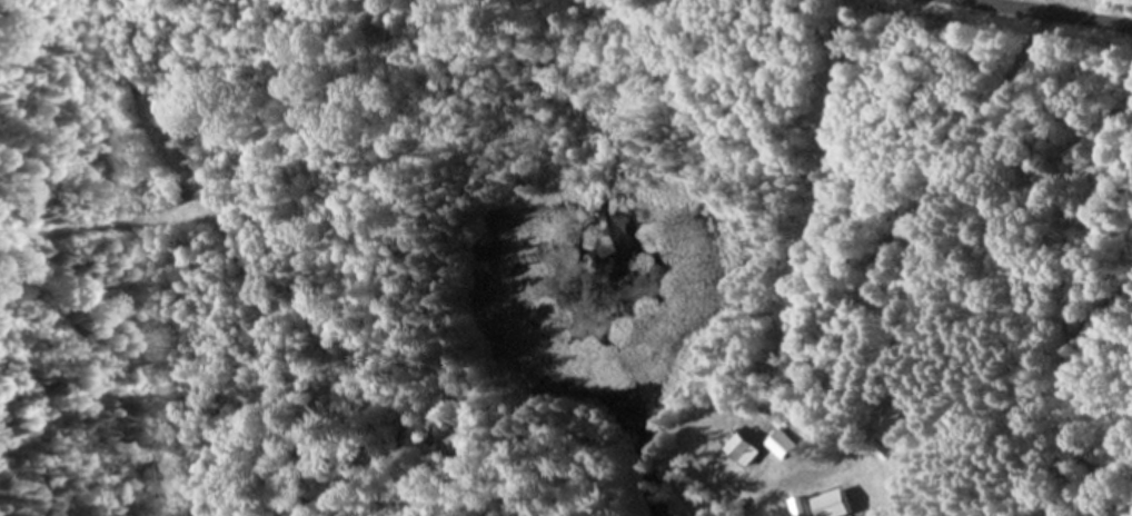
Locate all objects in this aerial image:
road: (1046, 14)
road: (916, 231)
building: (777, 445)
building: (736, 448)
building: (826, 504)
building: (793, 507)

